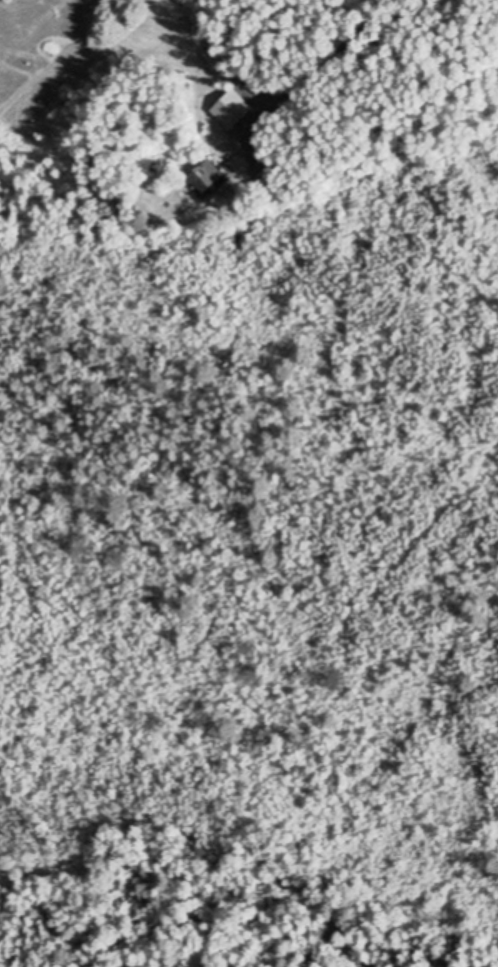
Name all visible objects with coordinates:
road: (328, 78)
building: (207, 175)

